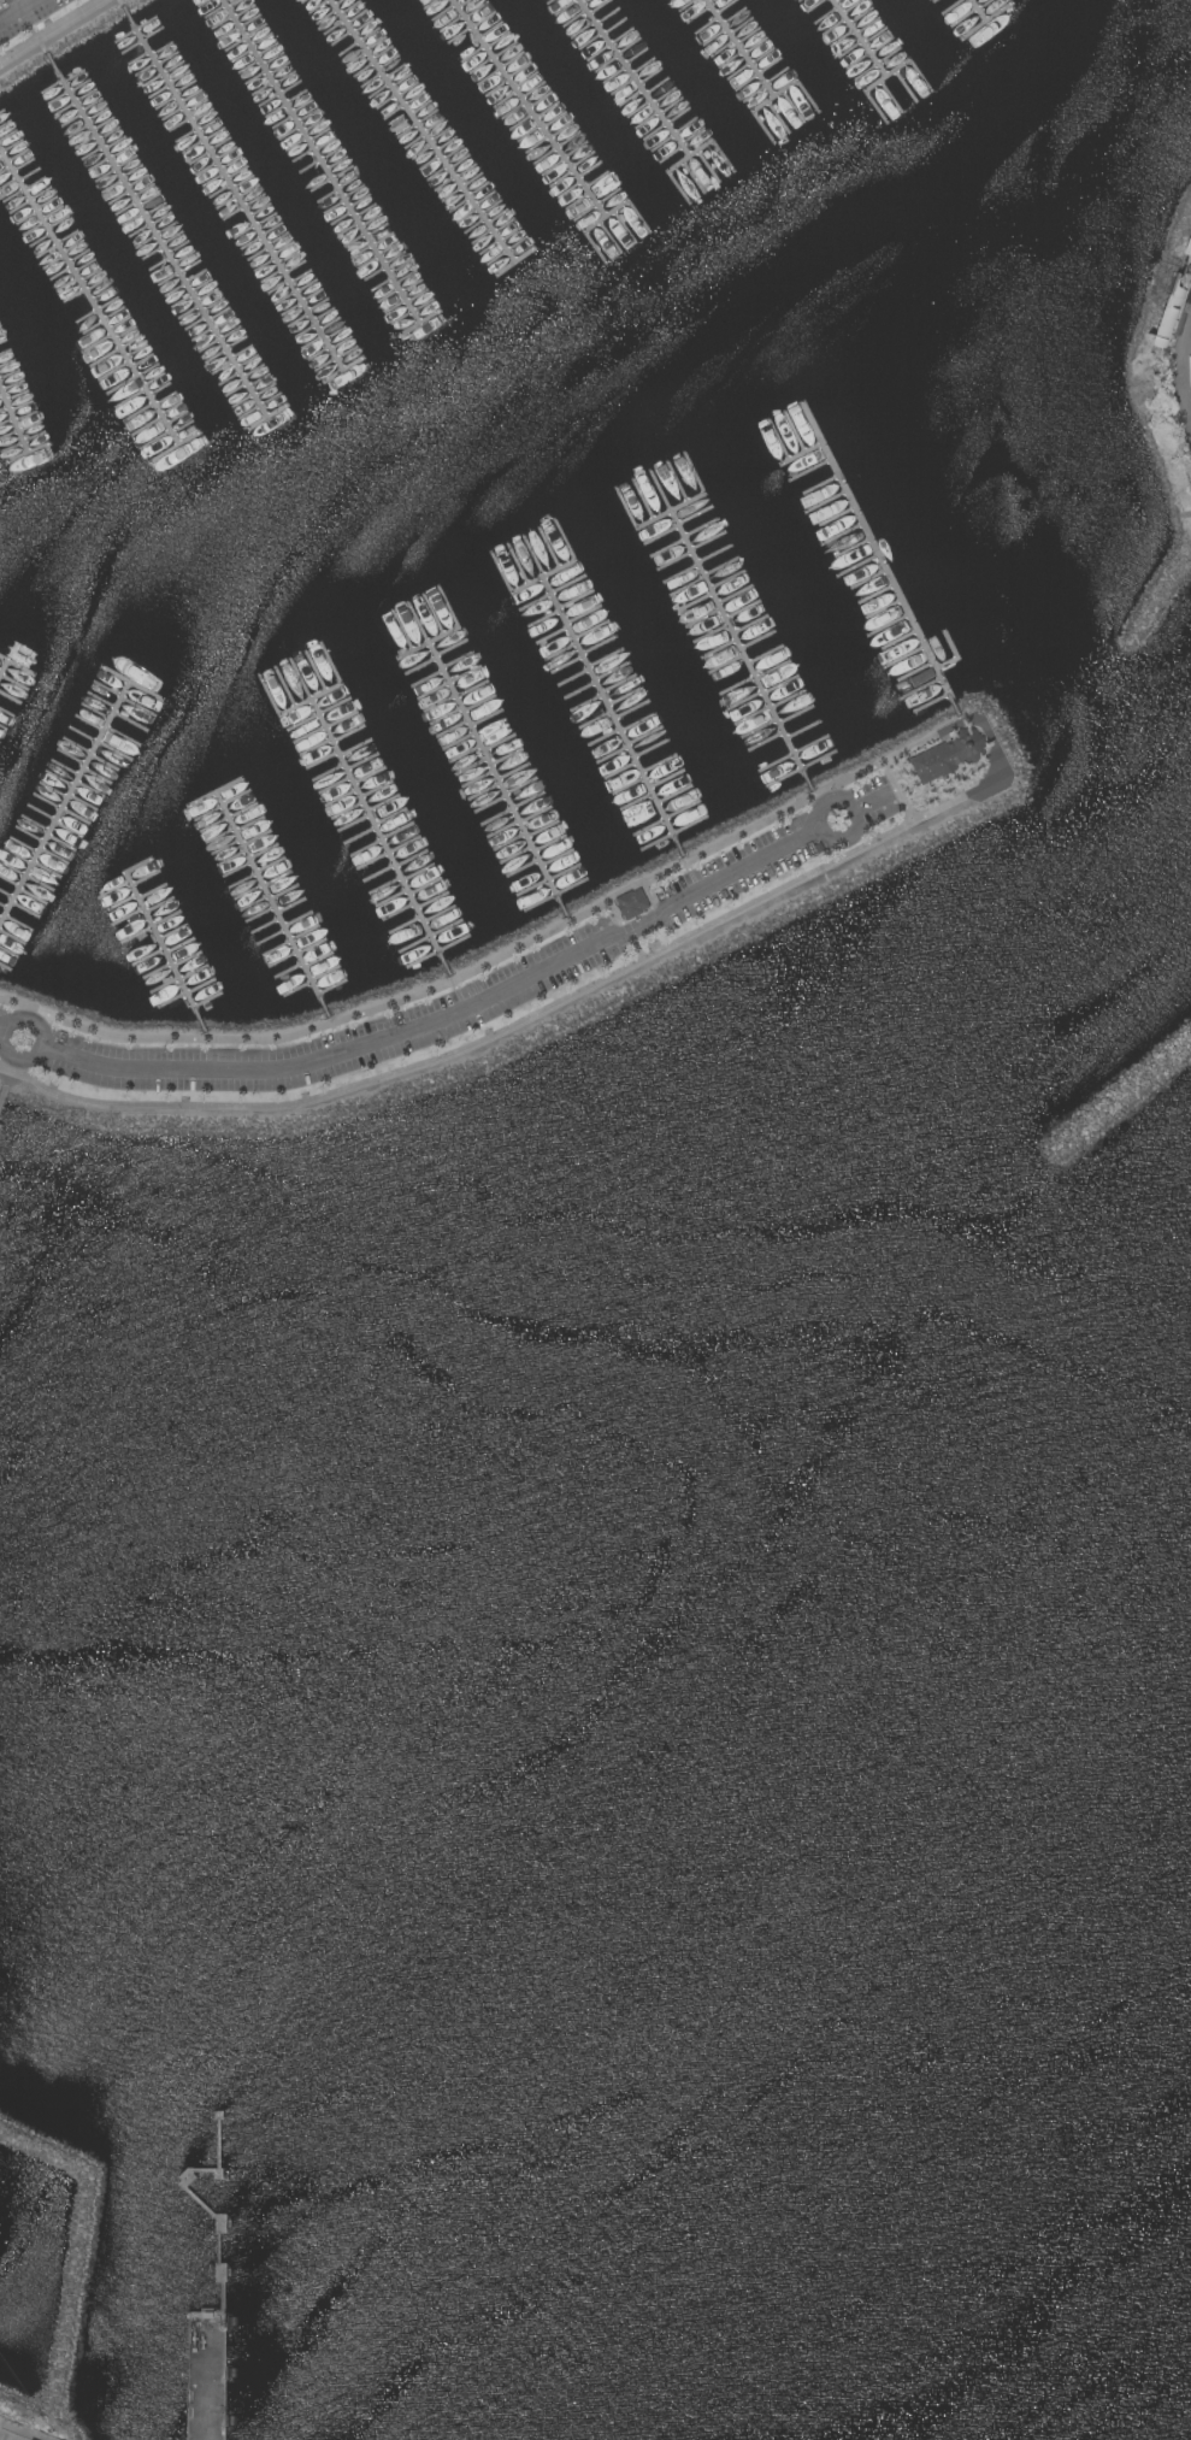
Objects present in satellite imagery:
road: (18, 11)
pier: (974, 11)
parking lot: (25, 16)
road: (49, 30)
pier: (861, 40)
pier: (744, 47)
pier: (632, 78)
pier: (531, 110)
pier: (418, 129)
pier: (320, 163)
pier: (234, 190)
pier: (158, 238)
pier: (87, 297)
building: (1171, 305)
road: (1178, 370)
pier: (13, 423)
pier: (686, 505)
pier: (879, 556)
pier: (544, 578)
pier: (730, 629)
pier: (442, 638)
pier: (955, 658)
pier: (5, 668)
pier: (19, 671)
pier: (145, 690)
building: (930, 692)
pier: (324, 694)
pier: (609, 714)
building: (948, 755)
pier: (489, 762)
pier: (217, 795)
pier: (72, 796)
road: (878, 802)
pier: (373, 818)
road: (825, 836)
pier: (270, 904)
building: (632, 904)
road: (626, 931)
pier: (163, 943)
road: (488, 967)
road: (449, 1016)
road: (501, 1031)
road: (2, 1032)
road: (10, 1056)
pier: (2, 1097)
pier: (0, 1127)
river: (95, 1626)
pier: (200, 2203)
pier: (211, 2376)

